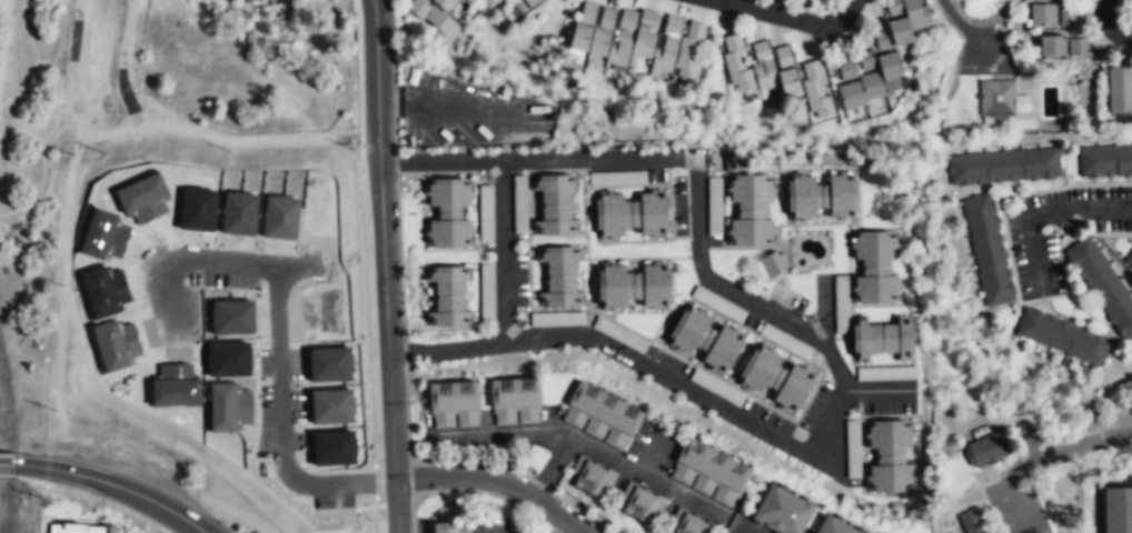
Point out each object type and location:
building: (532, 3)
building: (441, 4)
building: (587, 13)
building: (1042, 16)
road: (792, 18)
building: (1066, 18)
building: (433, 20)
building: (900, 22)
road: (1109, 24)
road: (352, 28)
building: (642, 40)
building: (1052, 47)
building: (1078, 48)
building: (761, 67)
building: (866, 79)
building: (1120, 91)
building: (814, 92)
building: (1001, 99)
road: (441, 109)
parking lot: (467, 113)
road: (537, 160)
building: (1104, 160)
building: (1002, 165)
building: (821, 197)
building: (556, 204)
building: (751, 211)
building: (448, 213)
road: (1047, 213)
building: (630, 214)
road: (504, 250)
building: (987, 250)
building: (1129, 261)
road: (384, 266)
building: (773, 266)
building: (875, 268)
building: (560, 276)
building: (1103, 285)
building: (634, 286)
building: (449, 296)
building: (1061, 336)
building: (882, 339)
building: (705, 340)
building: (775, 379)
road: (877, 391)
building: (724, 393)
building: (515, 401)
building: (454, 405)
building: (600, 415)
road: (787, 442)
building: (853, 450)
road: (1066, 450)
building: (985, 451)
road: (649, 453)
road: (600, 456)
building: (888, 456)
road: (7, 464)
building: (708, 471)
building: (590, 476)
road: (496, 480)
road: (112, 484)
road: (534, 485)
road: (87, 494)
building: (639, 504)
road: (1014, 504)
street lamp: (107, 505)
building: (1118, 511)
building: (780, 512)
building: (685, 523)
building: (974, 524)
building: (439, 526)
building: (833, 526)
building: (81, 529)

